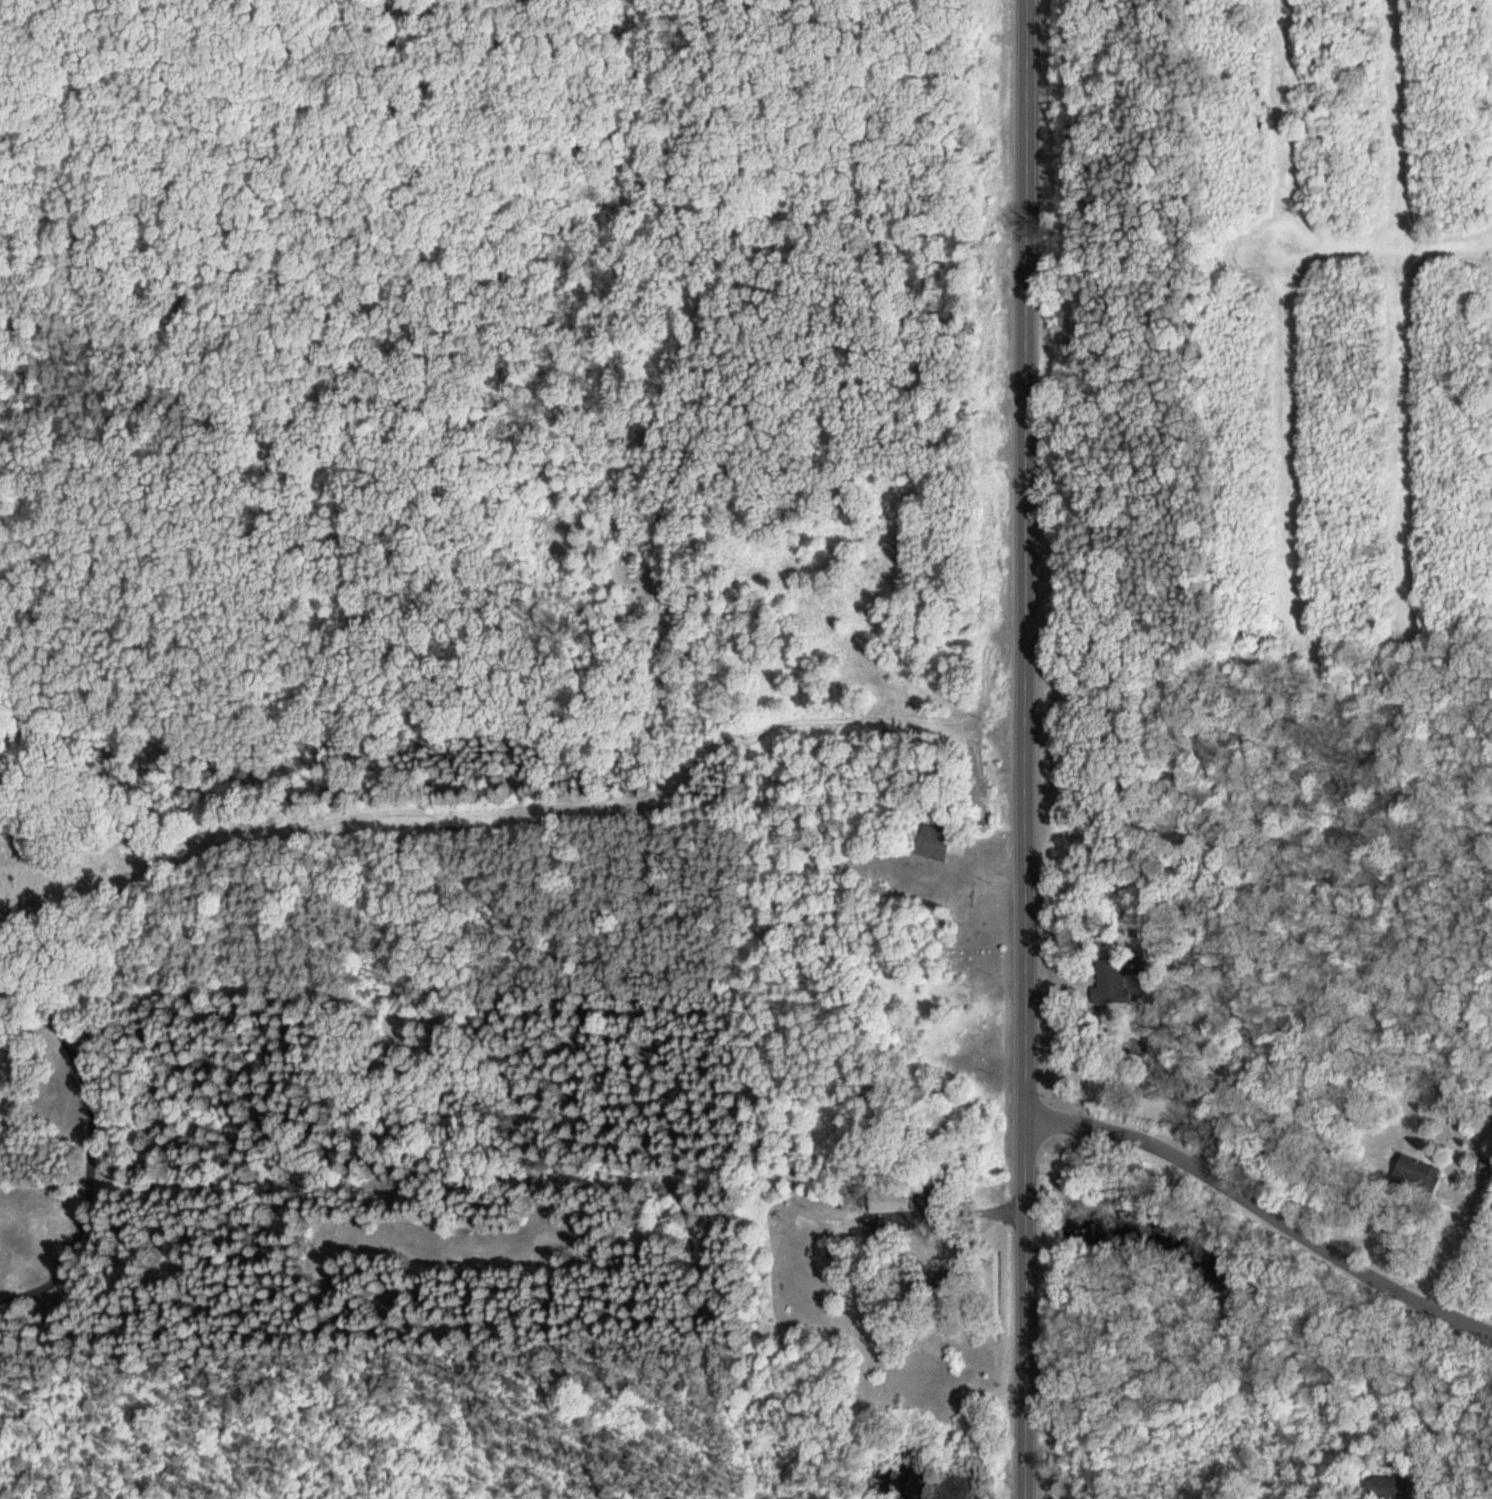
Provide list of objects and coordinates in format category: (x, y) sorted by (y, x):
road: (301, 181)
road: (1029, 749)
building: (938, 840)
building: (1419, 1174)
road: (1266, 1204)
road: (521, 1205)

